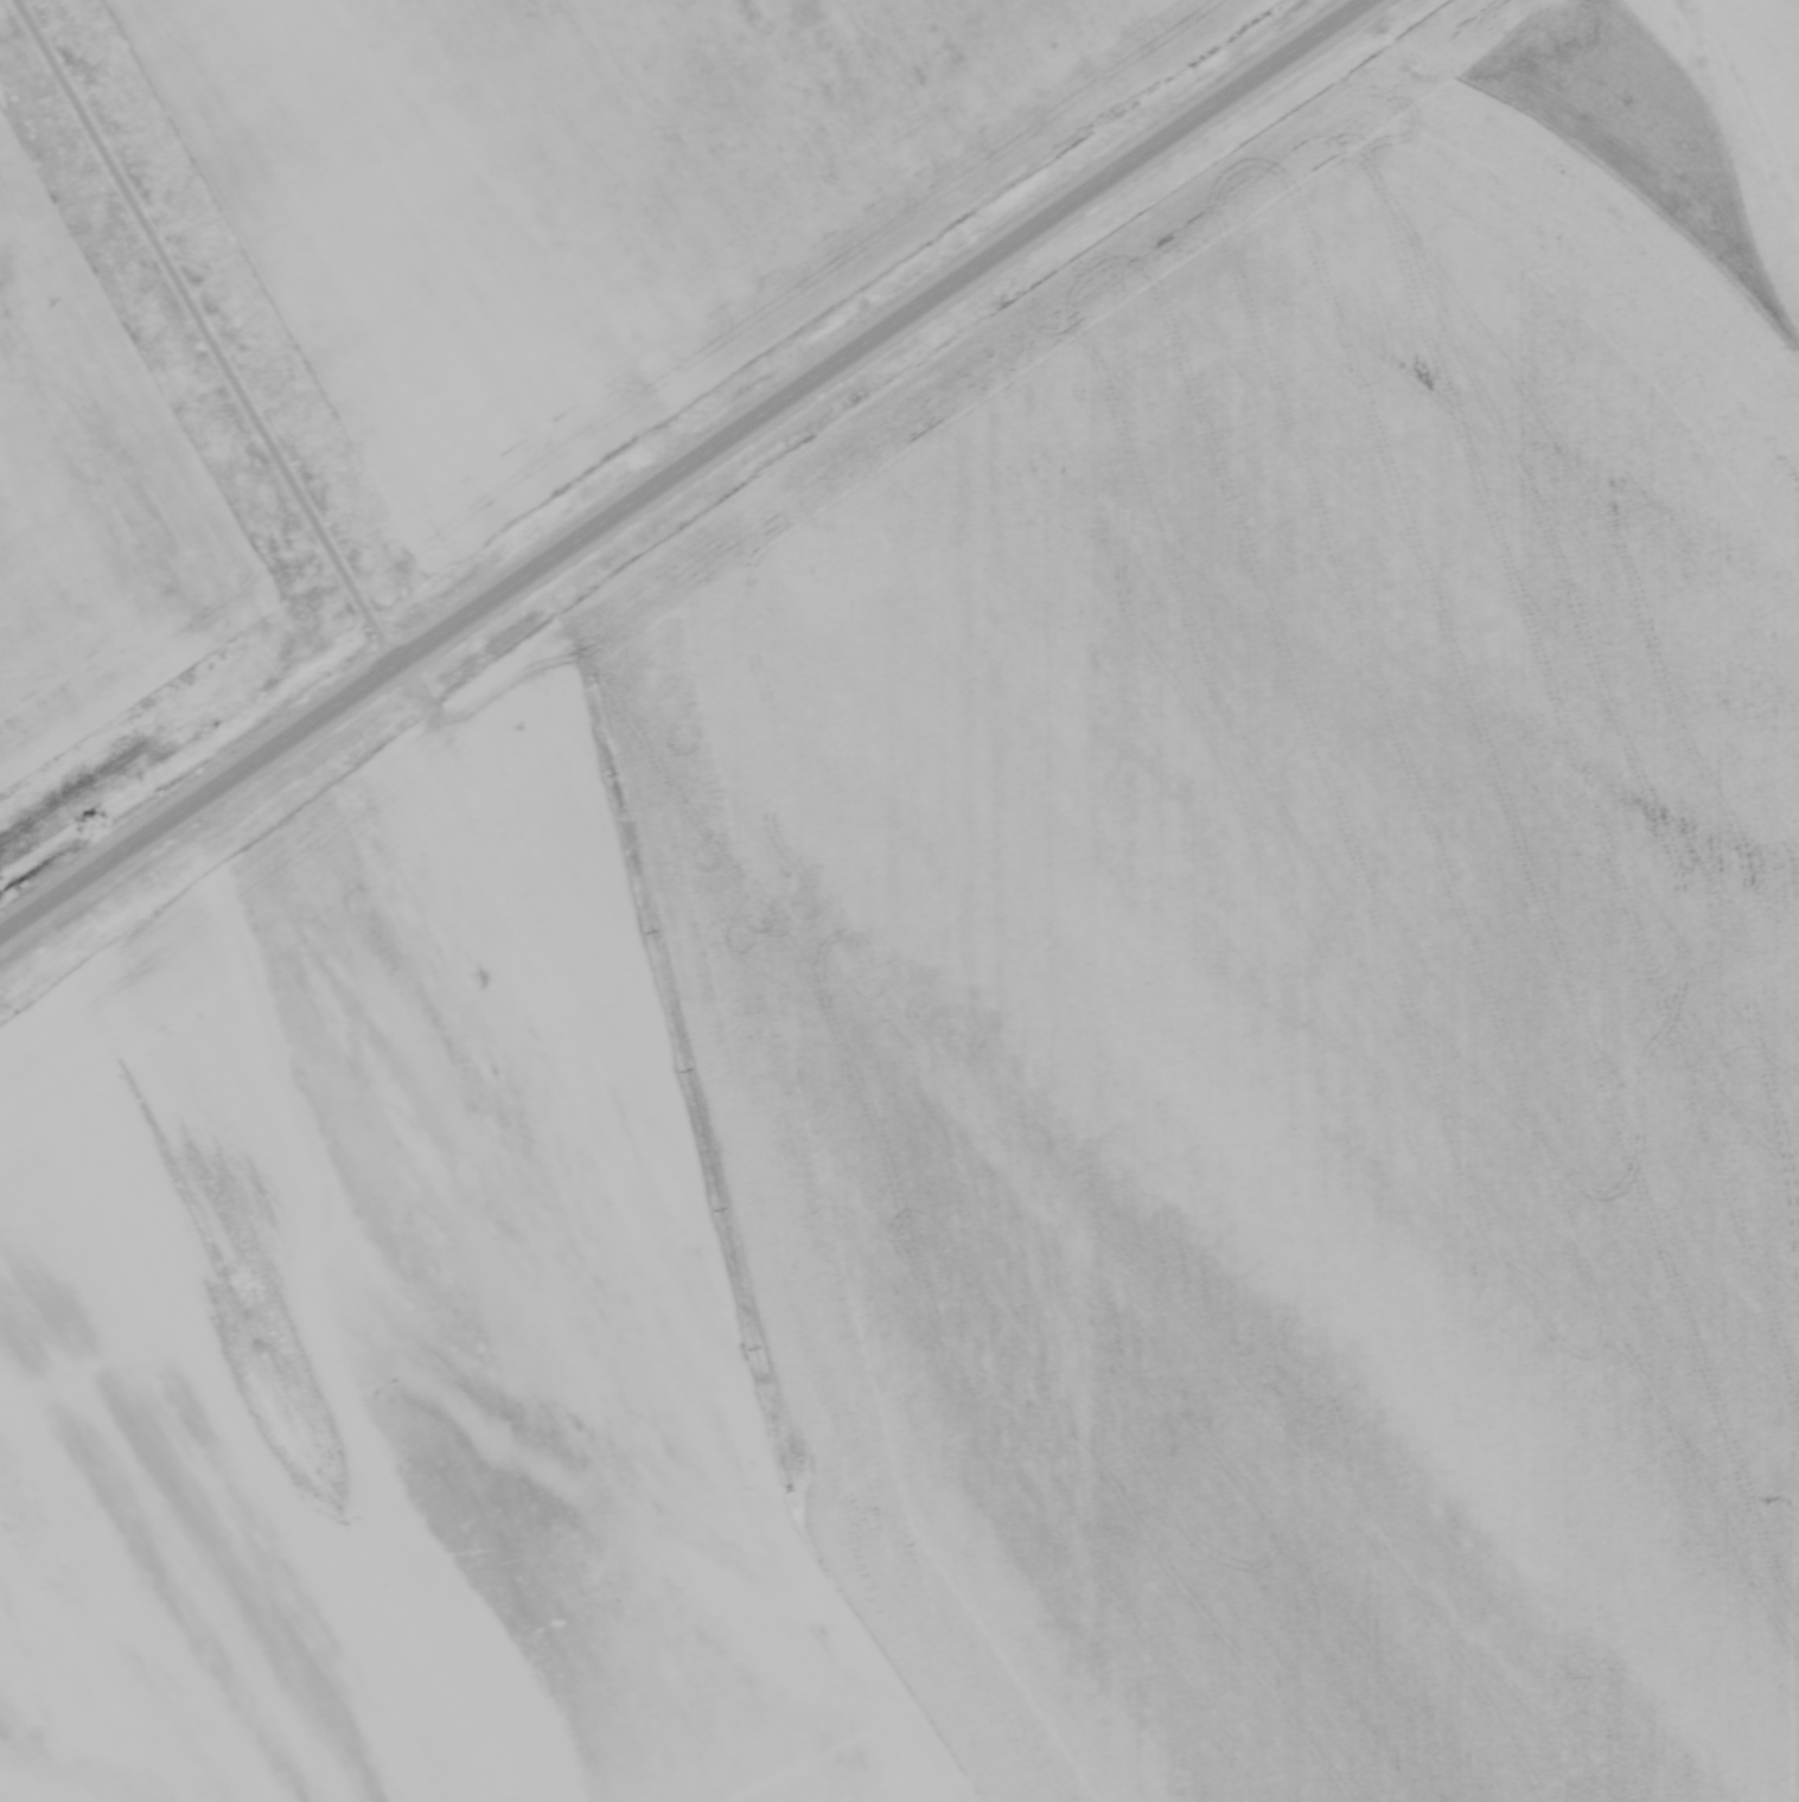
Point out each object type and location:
crop: (572, 191)
road: (204, 333)
road: (685, 467)
crop: (96, 493)

